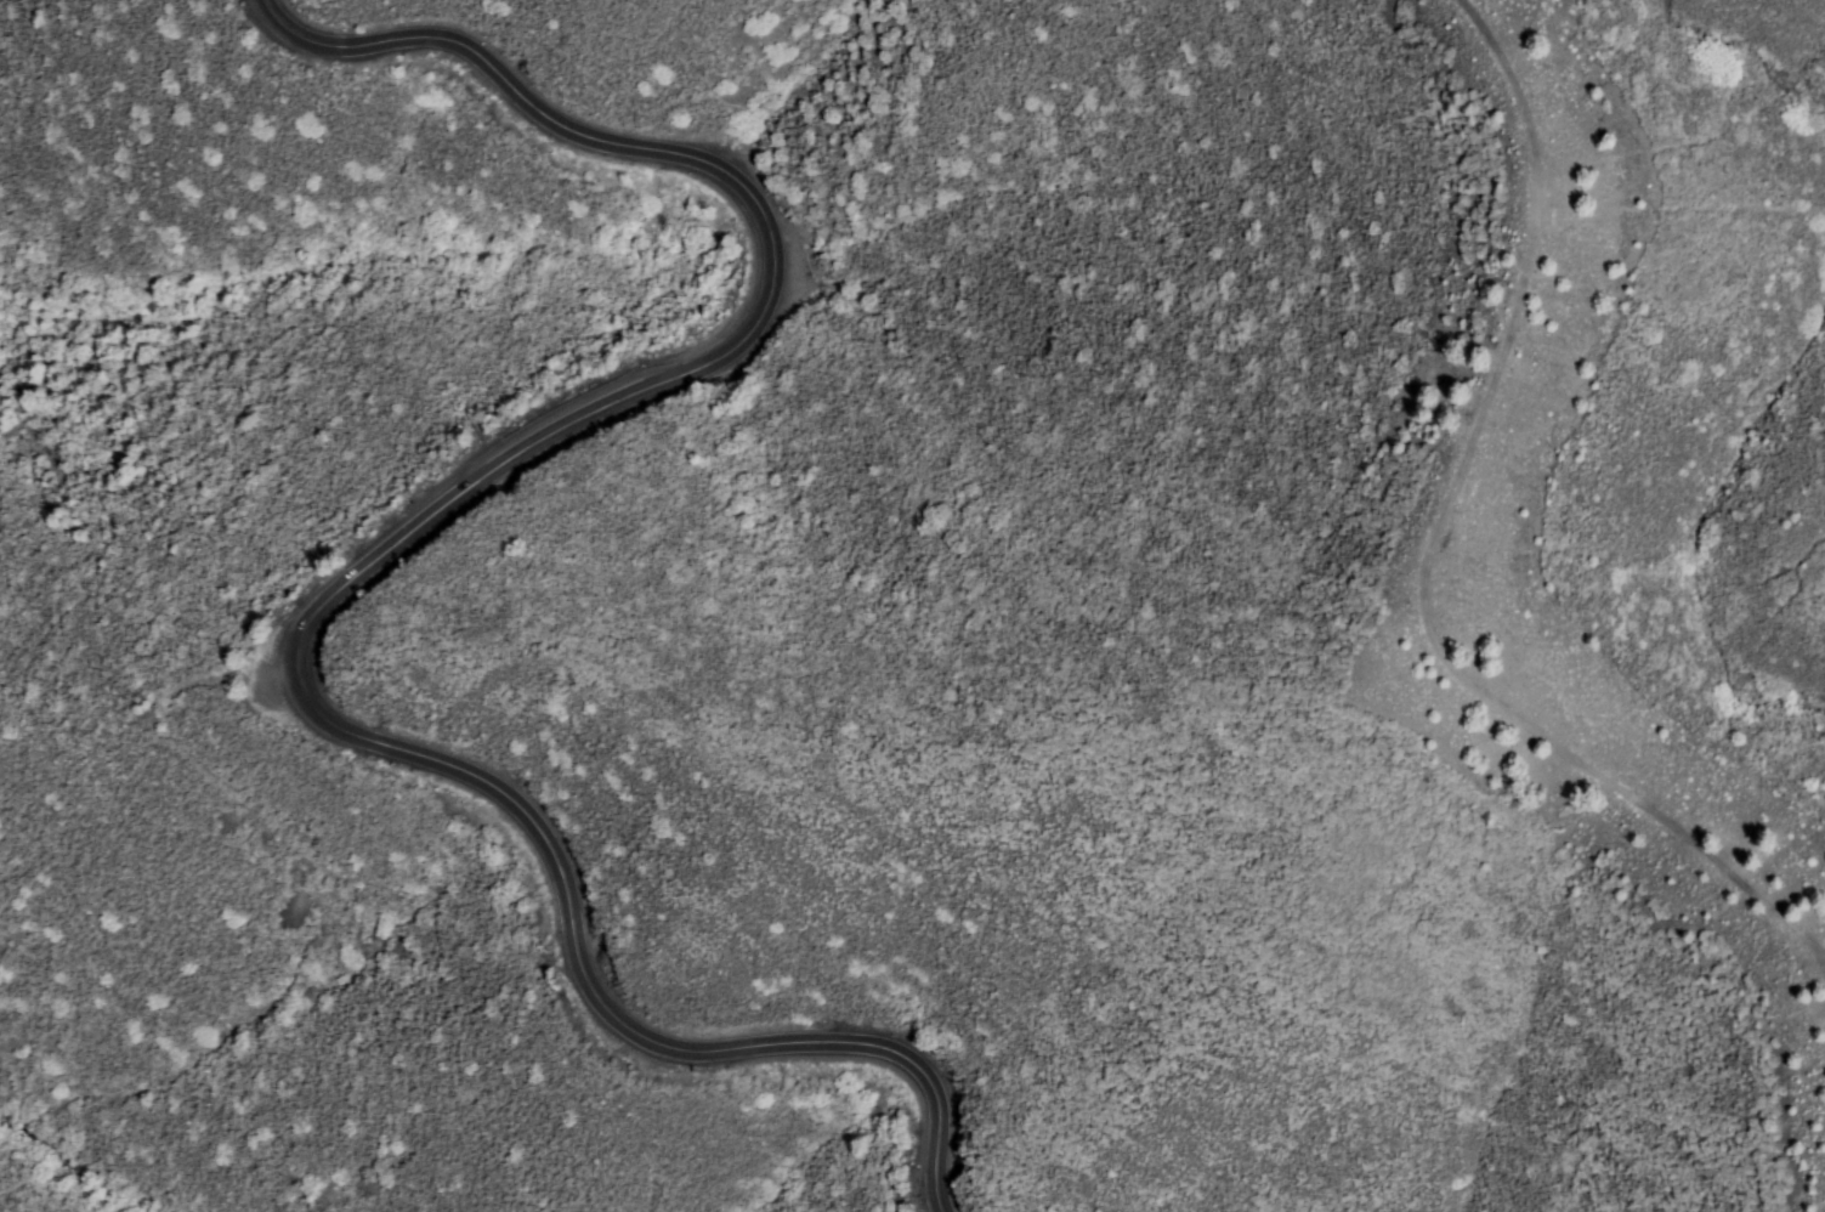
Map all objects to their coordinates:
road: (386, 553)

